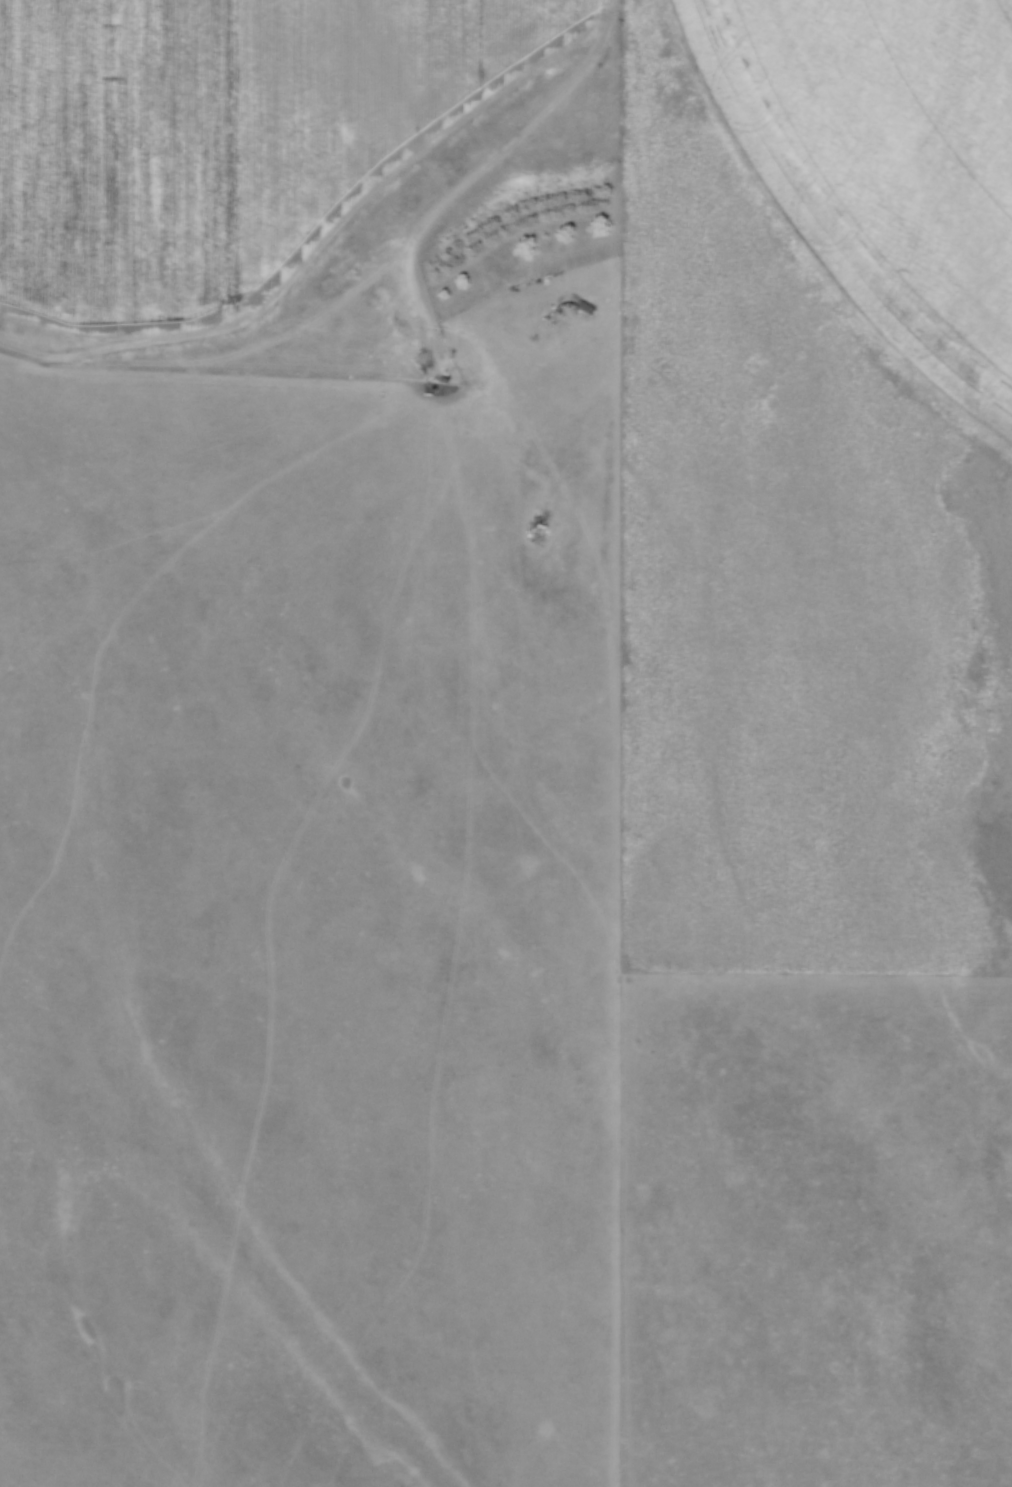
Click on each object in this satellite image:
crop: (203, 125)
crop: (883, 168)
building: (521, 181)

